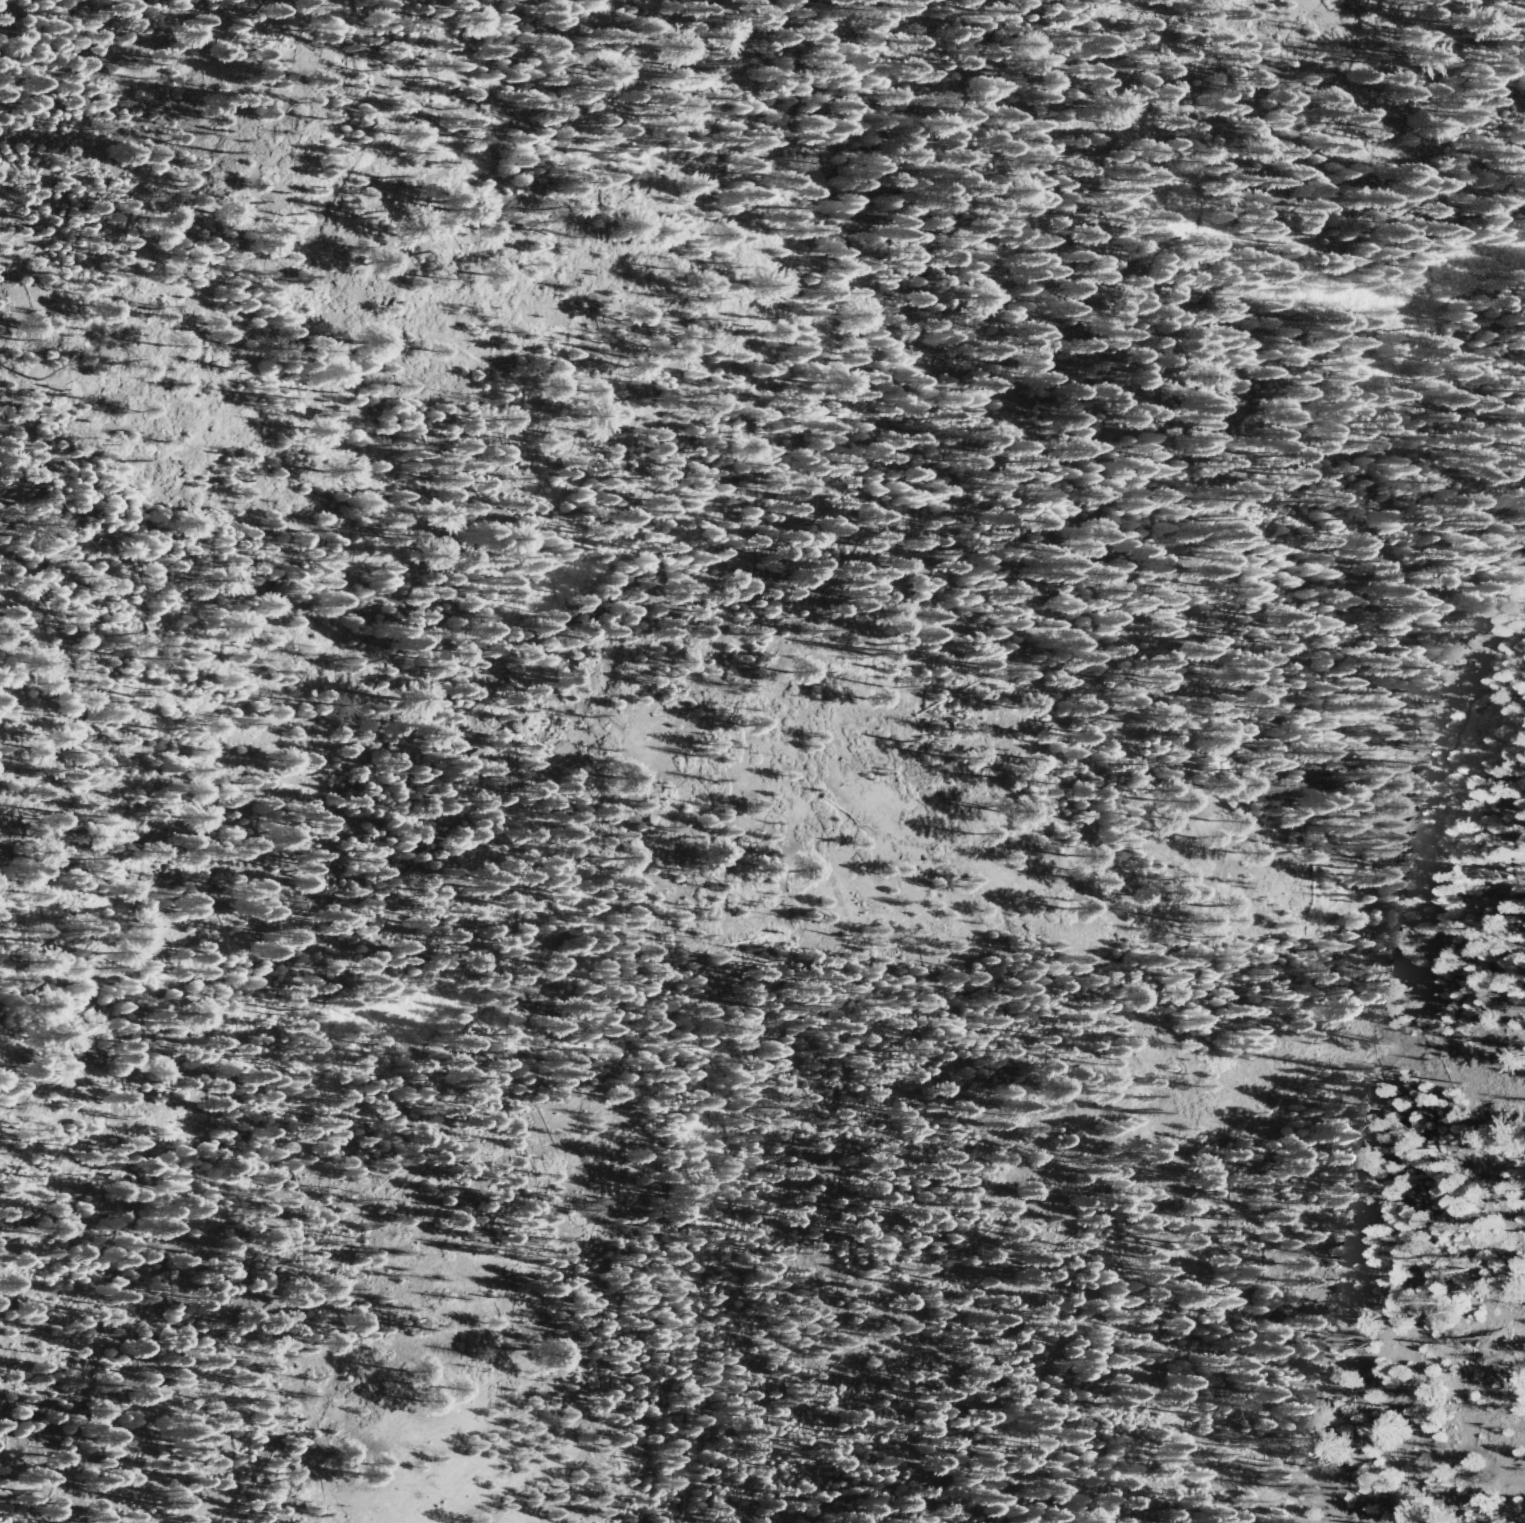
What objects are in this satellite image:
road: (1238, 289)

